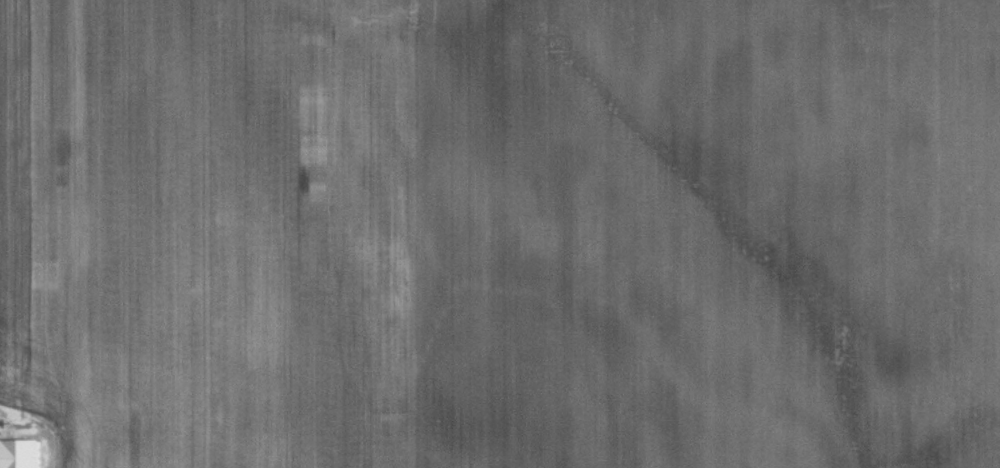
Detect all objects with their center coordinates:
building: (24, 452)

